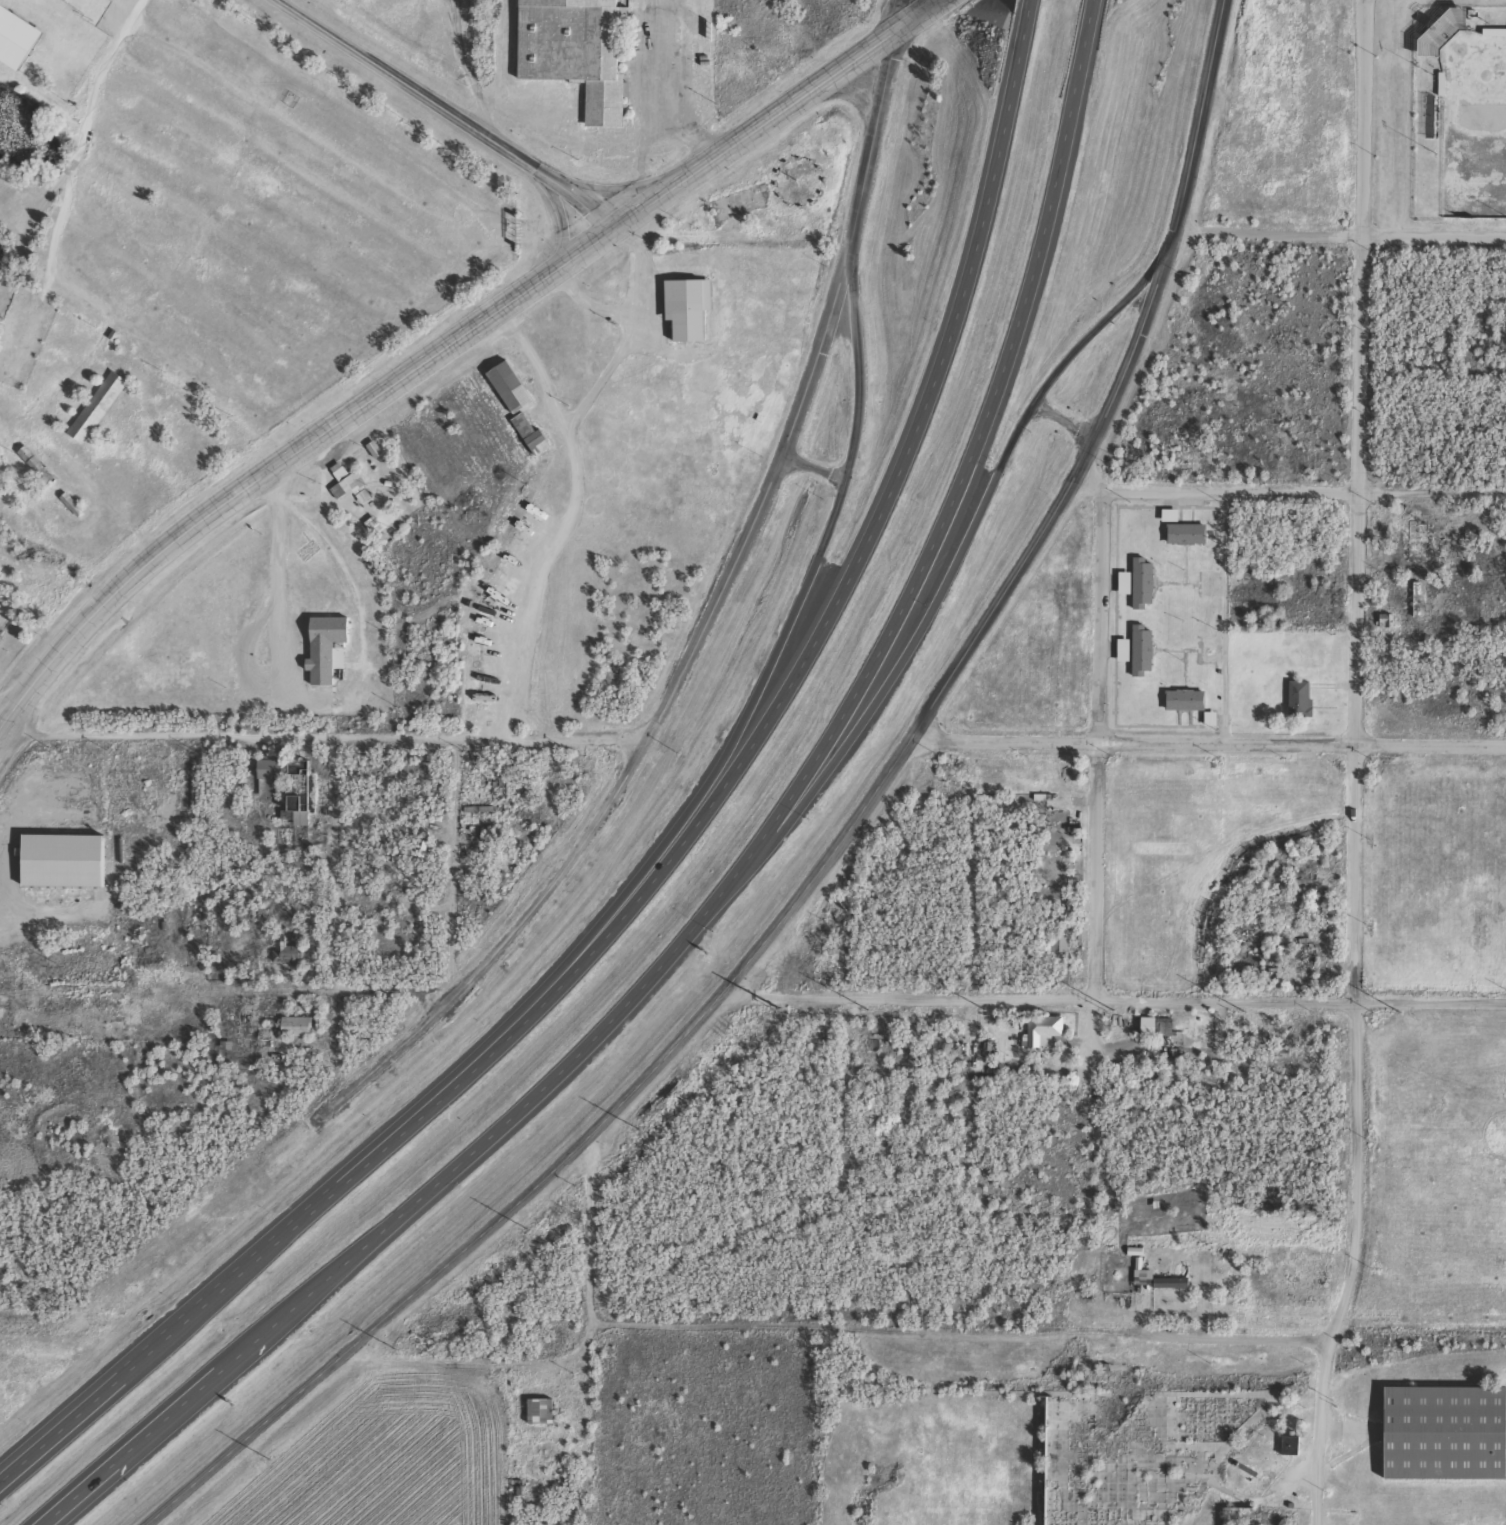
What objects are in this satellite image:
building: (69, 0)
road: (916, 15)
building: (1442, 39)
building: (15, 46)
building: (575, 55)
road: (848, 94)
road: (439, 111)
road: (876, 116)
road: (1363, 118)
road: (1195, 124)
park: (1474, 128)
road: (751, 131)
road: (84, 133)
road: (608, 194)
road: (562, 223)
road: (1268, 234)
road: (1434, 237)
building: (687, 315)
building: (509, 395)
building: (96, 415)
road: (1062, 421)
building: (530, 443)
building: (373, 457)
road: (285, 458)
road: (811, 469)
building: (33, 471)
building: (348, 493)
road: (1288, 493)
building: (1170, 523)
building: (372, 533)
building: (1186, 542)
building: (1418, 547)
road: (944, 576)
building: (1124, 591)
building: (1142, 591)
road: (800, 594)
road: (1224, 617)
building: (325, 656)
building: (1123, 658)
building: (1141, 659)
building: (1184, 708)
building: (1299, 708)
road: (2, 717)
road: (653, 725)
building: (1210, 727)
road: (323, 737)
road: (1206, 743)
road: (1099, 772)
building: (269, 783)
building: (297, 807)
road: (678, 850)
road: (334, 866)
building: (62, 869)
road: (733, 873)
road: (1355, 883)
road: (747, 959)
building: (285, 962)
road: (226, 992)
road: (1115, 996)
building: (296, 1034)
building: (1155, 1034)
building: (1041, 1039)
building: (1170, 1291)
railway: (753, 1324)
building: (540, 1419)
building: (1445, 1440)
building: (1289, 1453)

